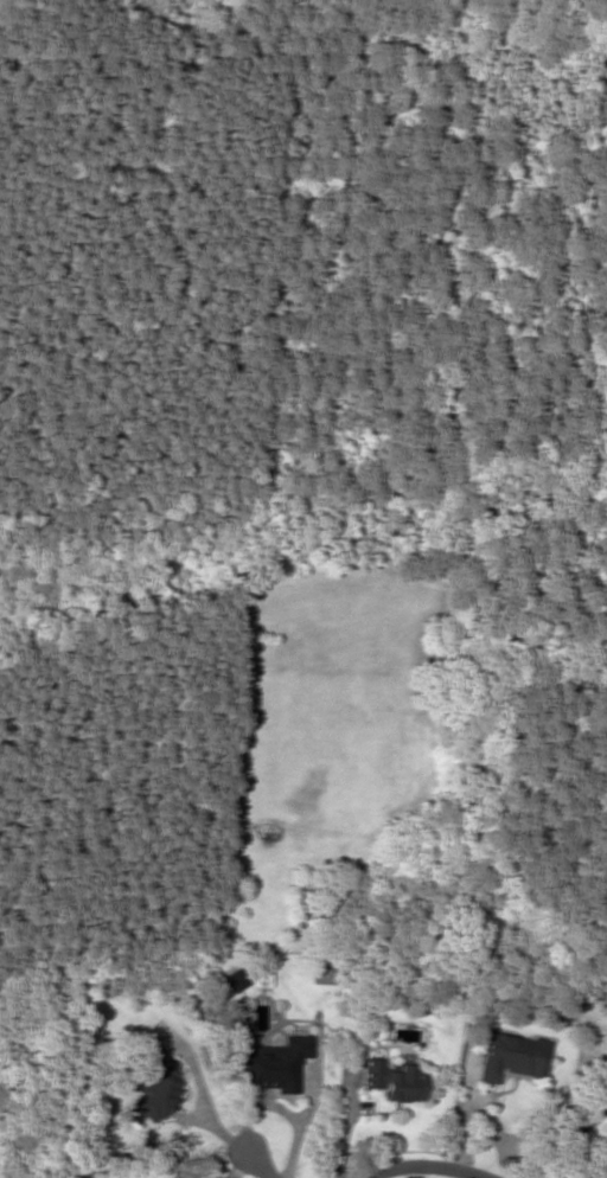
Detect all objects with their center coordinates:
building: (235, 980)
building: (511, 1057)
building: (275, 1064)
building: (392, 1081)
building: (153, 1086)
road: (426, 1166)

